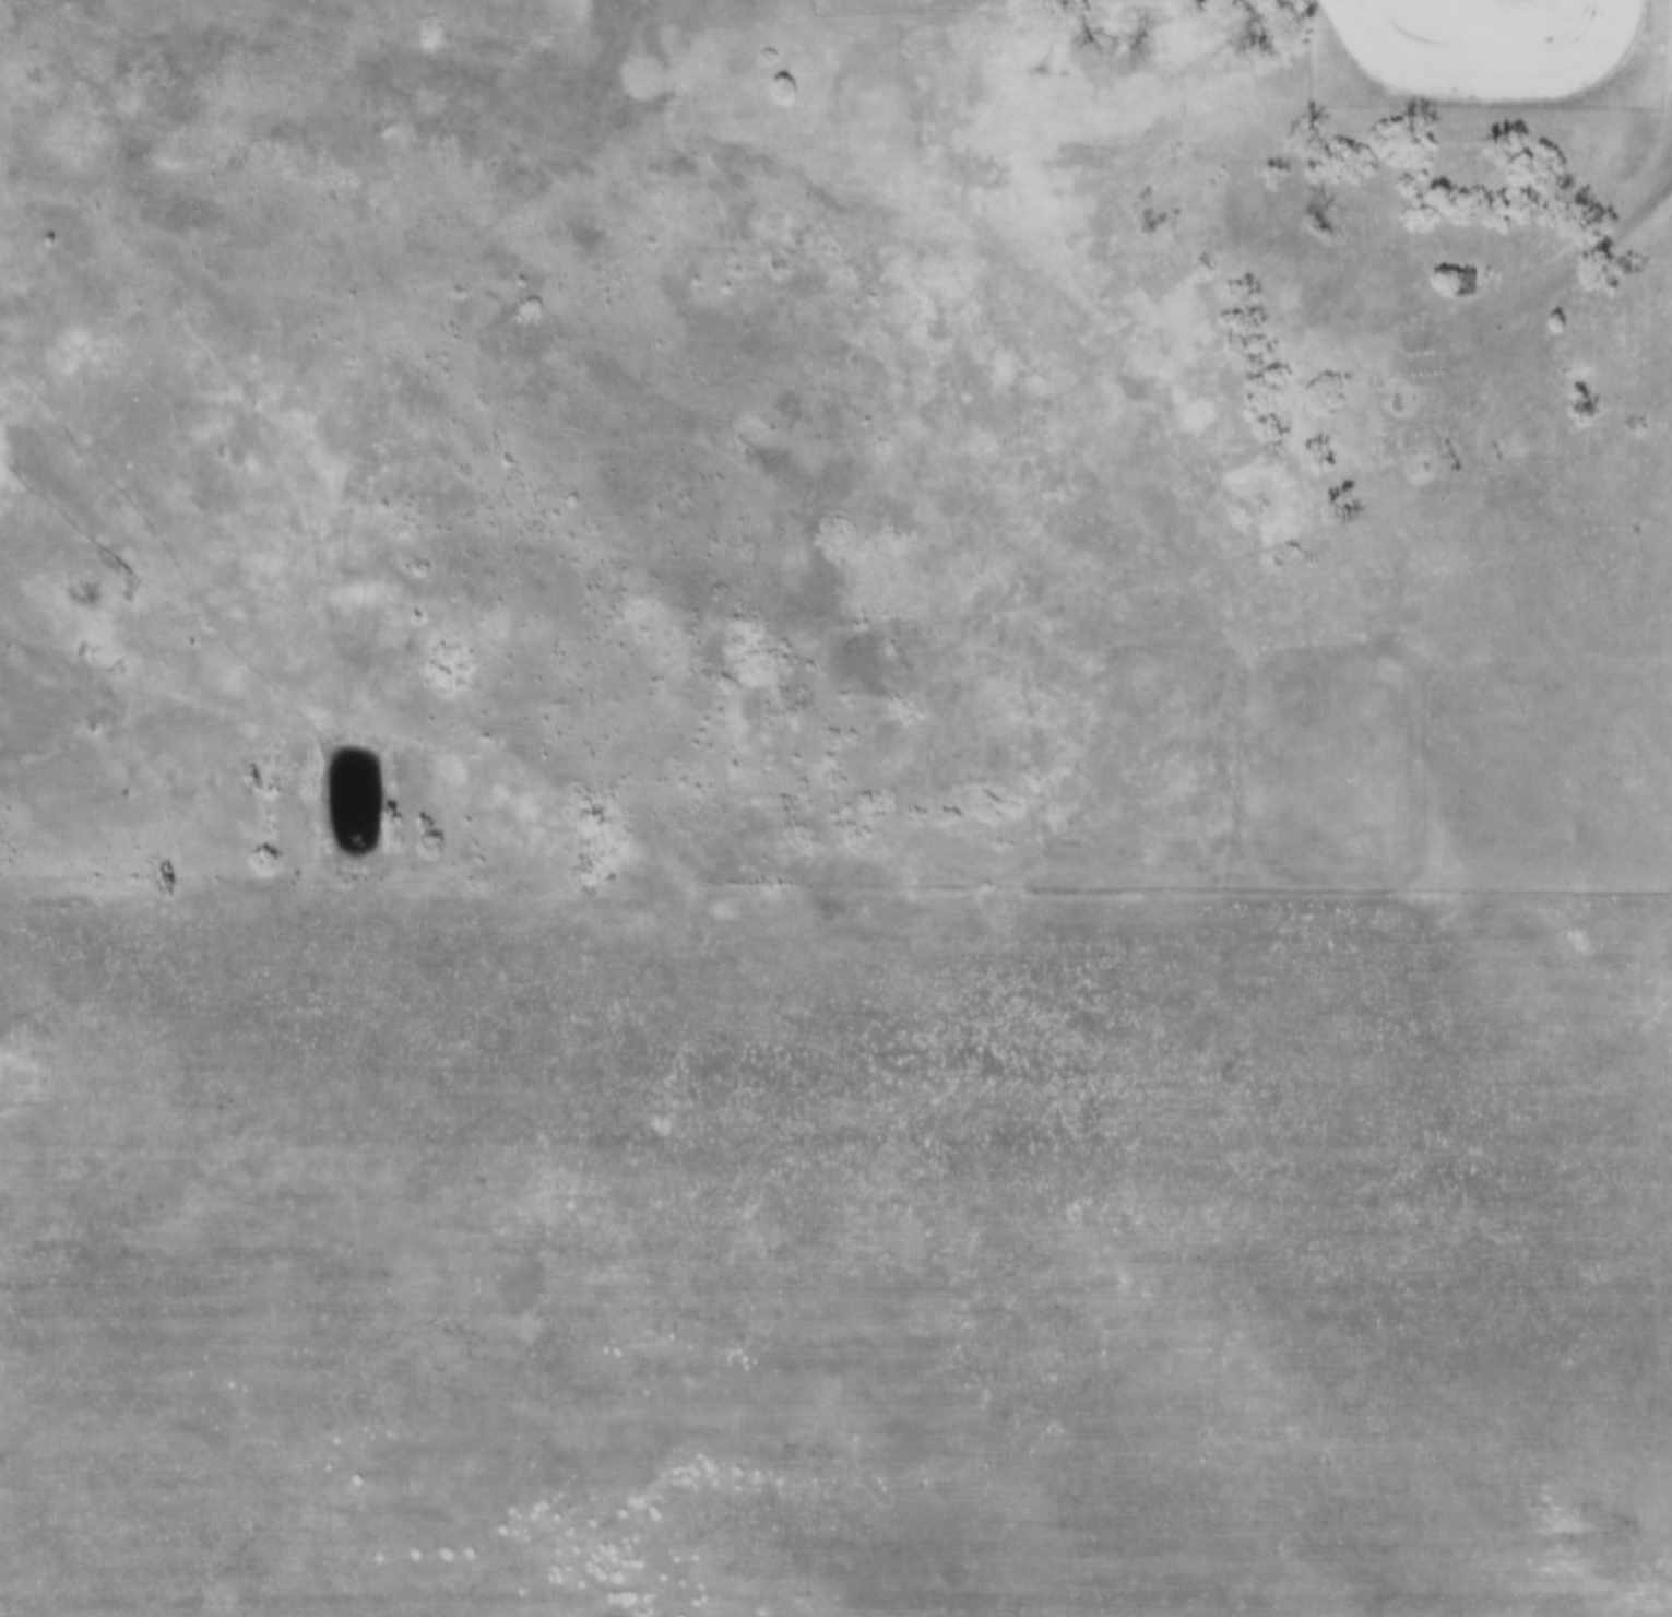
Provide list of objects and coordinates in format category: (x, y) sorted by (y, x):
building: (1465, 281)
road: (1542, 286)

